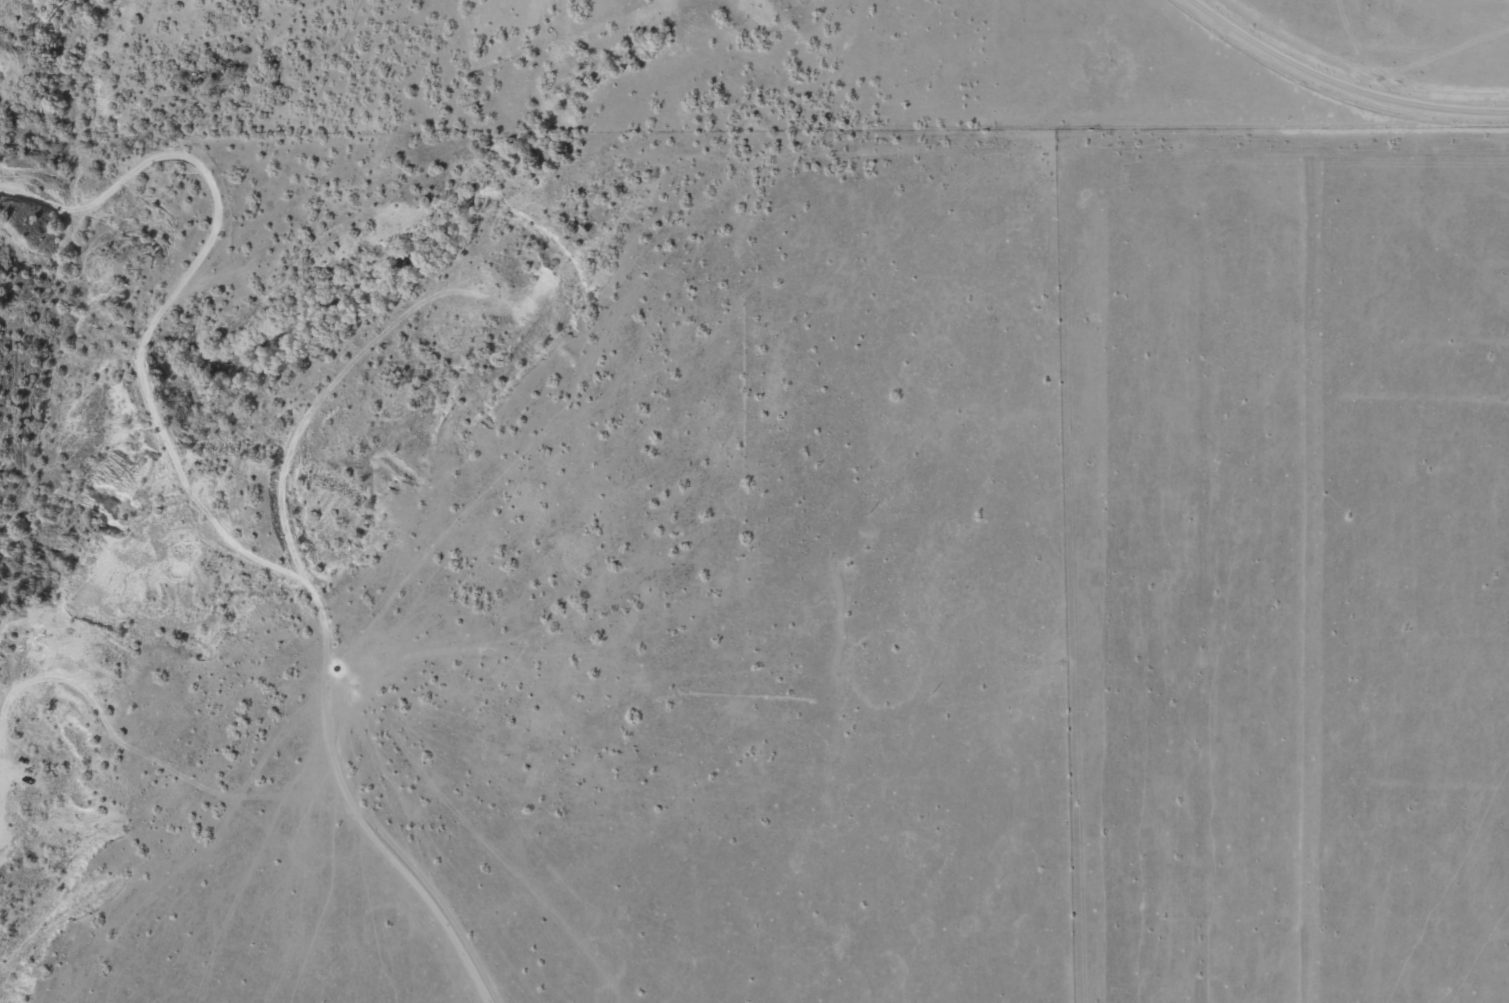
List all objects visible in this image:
road: (1340, 83)
road: (516, 468)
road: (357, 837)

